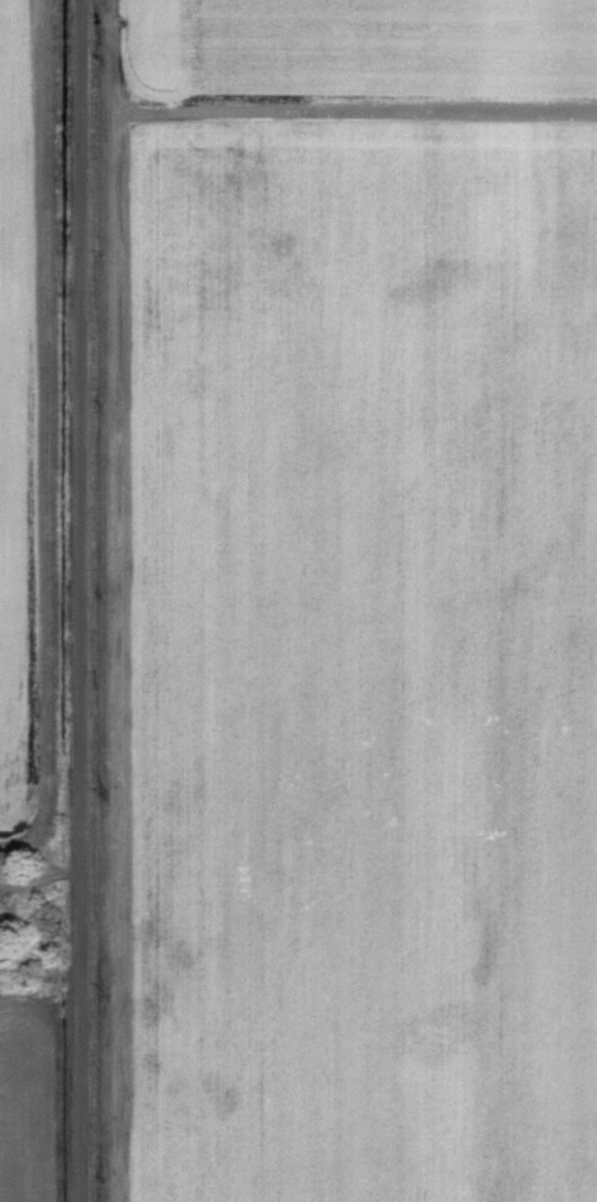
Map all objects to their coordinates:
road: (82, 601)

